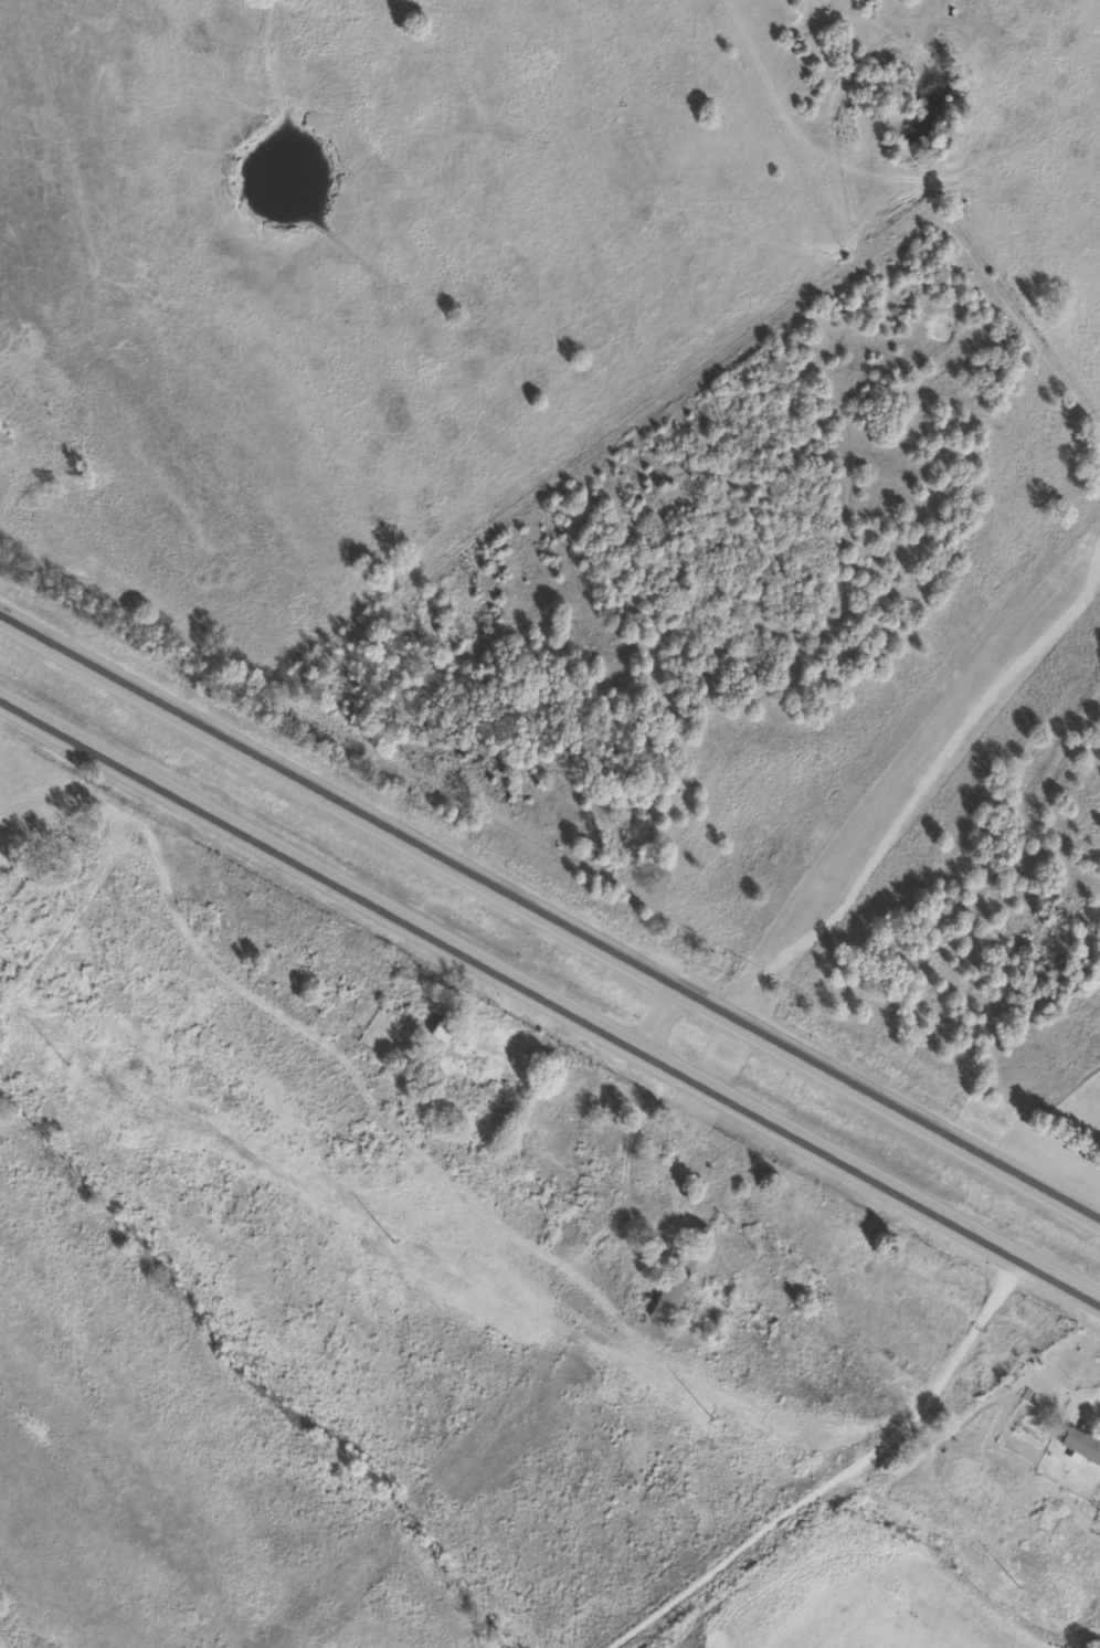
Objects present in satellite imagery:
road: (550, 921)
road: (550, 1004)
road: (653, 1020)
building: (437, 1035)
building: (597, 1129)
building: (671, 1287)
building: (1079, 1446)
road: (854, 1483)

